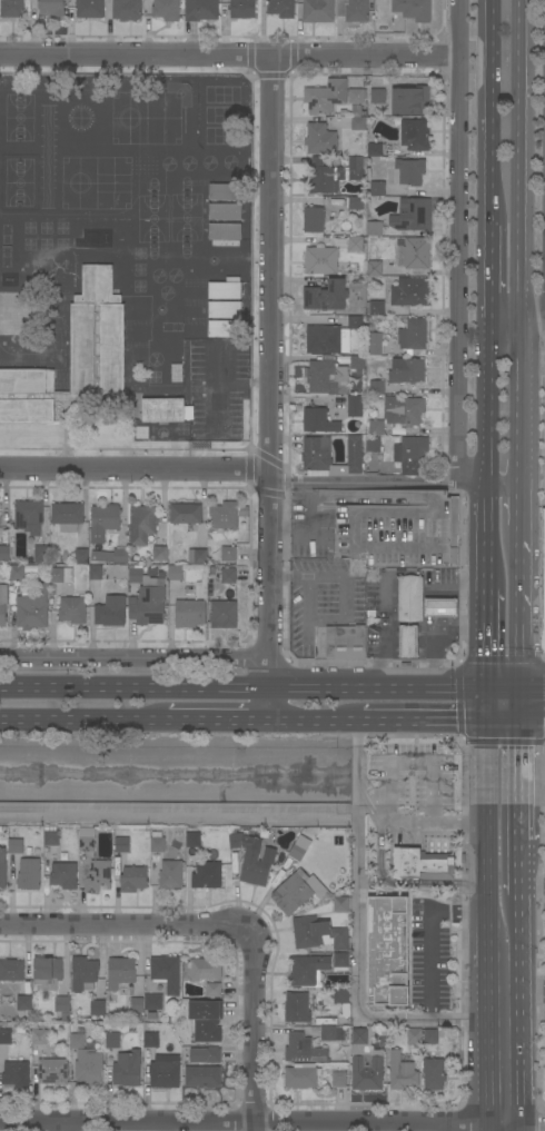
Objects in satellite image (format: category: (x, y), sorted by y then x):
building: (52, 7)
building: (281, 8)
building: (11, 9)
building: (89, 9)
building: (127, 9)
building: (242, 9)
building: (166, 10)
building: (200, 10)
building: (353, 10)
building: (413, 10)
building: (318, 11)
road: (229, 60)
building: (378, 91)
building: (330, 97)
building: (410, 100)
building: (356, 111)
building: (358, 123)
building: (415, 135)
building: (320, 139)
building: (375, 150)
building: (408, 172)
building: (334, 175)
building: (377, 188)
building: (225, 191)
building: (355, 202)
building: (225, 211)
building: (412, 216)
building: (314, 219)
building: (374, 228)
building: (225, 231)
building: (355, 244)
road: (493, 244)
building: (416, 254)
building: (320, 260)
building: (353, 268)
building: (374, 268)
road: (522, 271)
road: (460, 274)
building: (225, 290)
building: (410, 292)
building: (326, 296)
building: (377, 308)
building: (225, 309)
road: (534, 319)
building: (355, 323)
building: (224, 328)
road: (534, 329)
building: (414, 337)
building: (324, 339)
building: (374, 344)
building: (75, 356)
building: (357, 364)
building: (407, 371)
building: (177, 373)
building: (327, 378)
building: (376, 387)
road: (271, 391)
building: (354, 406)
building: (166, 410)
building: (404, 410)
building: (319, 420)
building: (376, 428)
building: (396, 430)
building: (141, 433)
building: (373, 445)
building: (412, 454)
building: (316, 457)
road: (136, 468)
building: (544, 472)
road: (366, 484)
building: (29, 516)
building: (67, 516)
building: (186, 516)
building: (224, 516)
building: (242, 519)
building: (103, 522)
building: (141, 524)
building: (400, 533)
building: (4, 553)
building: (41, 553)
building: (160, 554)
building: (228, 554)
building: (81, 556)
building: (110, 556)
building: (197, 556)
building: (17, 572)
building: (102, 572)
building: (175, 573)
building: (59, 574)
building: (228, 576)
building: (201, 591)
road: (344, 597)
building: (147, 598)
building: (410, 598)
gas station: (410, 598)
building: (3, 604)
road: (488, 605)
building: (440, 608)
building: (32, 609)
building: (72, 609)
building: (110, 612)
building: (189, 613)
building: (224, 615)
road: (523, 634)
building: (346, 643)
building: (409, 643)
road: (132, 659)
road: (260, 686)
traffic signals: (487, 688)
traffic signals: (523, 688)
road: (534, 688)
road: (77, 720)
road: (210, 722)
road: (313, 723)
road: (440, 723)
traffic signals: (488, 724)
traffic signals: (523, 724)
road: (534, 724)
road: (523, 781)
road: (369, 794)
road: (366, 806)
road: (430, 823)
building: (51, 839)
building: (87, 840)
building: (194, 840)
building: (158, 844)
building: (122, 845)
building: (16, 846)
building: (297, 852)
building: (254, 859)
building: (423, 864)
road: (523, 866)
building: (2, 870)
building: (29, 874)
building: (171, 874)
building: (63, 875)
building: (207, 875)
road: (380, 875)
building: (98, 876)
building: (133, 880)
road: (464, 882)
road: (534, 886)
building: (291, 894)
building: (340, 904)
road: (125, 924)
road: (489, 924)
building: (318, 934)
road: (359, 936)
road: (428, 937)
building: (388, 952)
building: (340, 962)
building: (205, 969)
building: (11, 970)
building: (83, 971)
building: (308, 971)
building: (120, 972)
building: (47, 973)
building: (167, 973)
building: (214, 990)
road: (534, 992)
building: (340, 995)
building: (153, 1002)
building: (23, 1003)
building: (62, 1004)
building: (136, 1004)
building: (98, 1008)
building: (297, 1008)
road: (523, 1009)
parking lot: (544, 1015)
building: (206, 1020)
road: (254, 1031)
building: (333, 1033)
building: (6, 1036)
building: (414, 1036)
building: (430, 1036)
building: (39, 1038)
building: (150, 1040)
building: (112, 1041)
building: (304, 1050)
building: (206, 1055)
building: (366, 1061)
building: (87, 1062)
building: (127, 1069)
building: (52, 1071)
building: (165, 1071)
building: (402, 1072)
building: (17, 1074)
building: (434, 1074)
building: (204, 1077)
building: (301, 1077)
building: (339, 1079)
road: (261, 1123)
road: (534, 1124)
road: (65, 1128)
road: (456, 1128)
road: (492, 1128)
road: (523, 1128)

